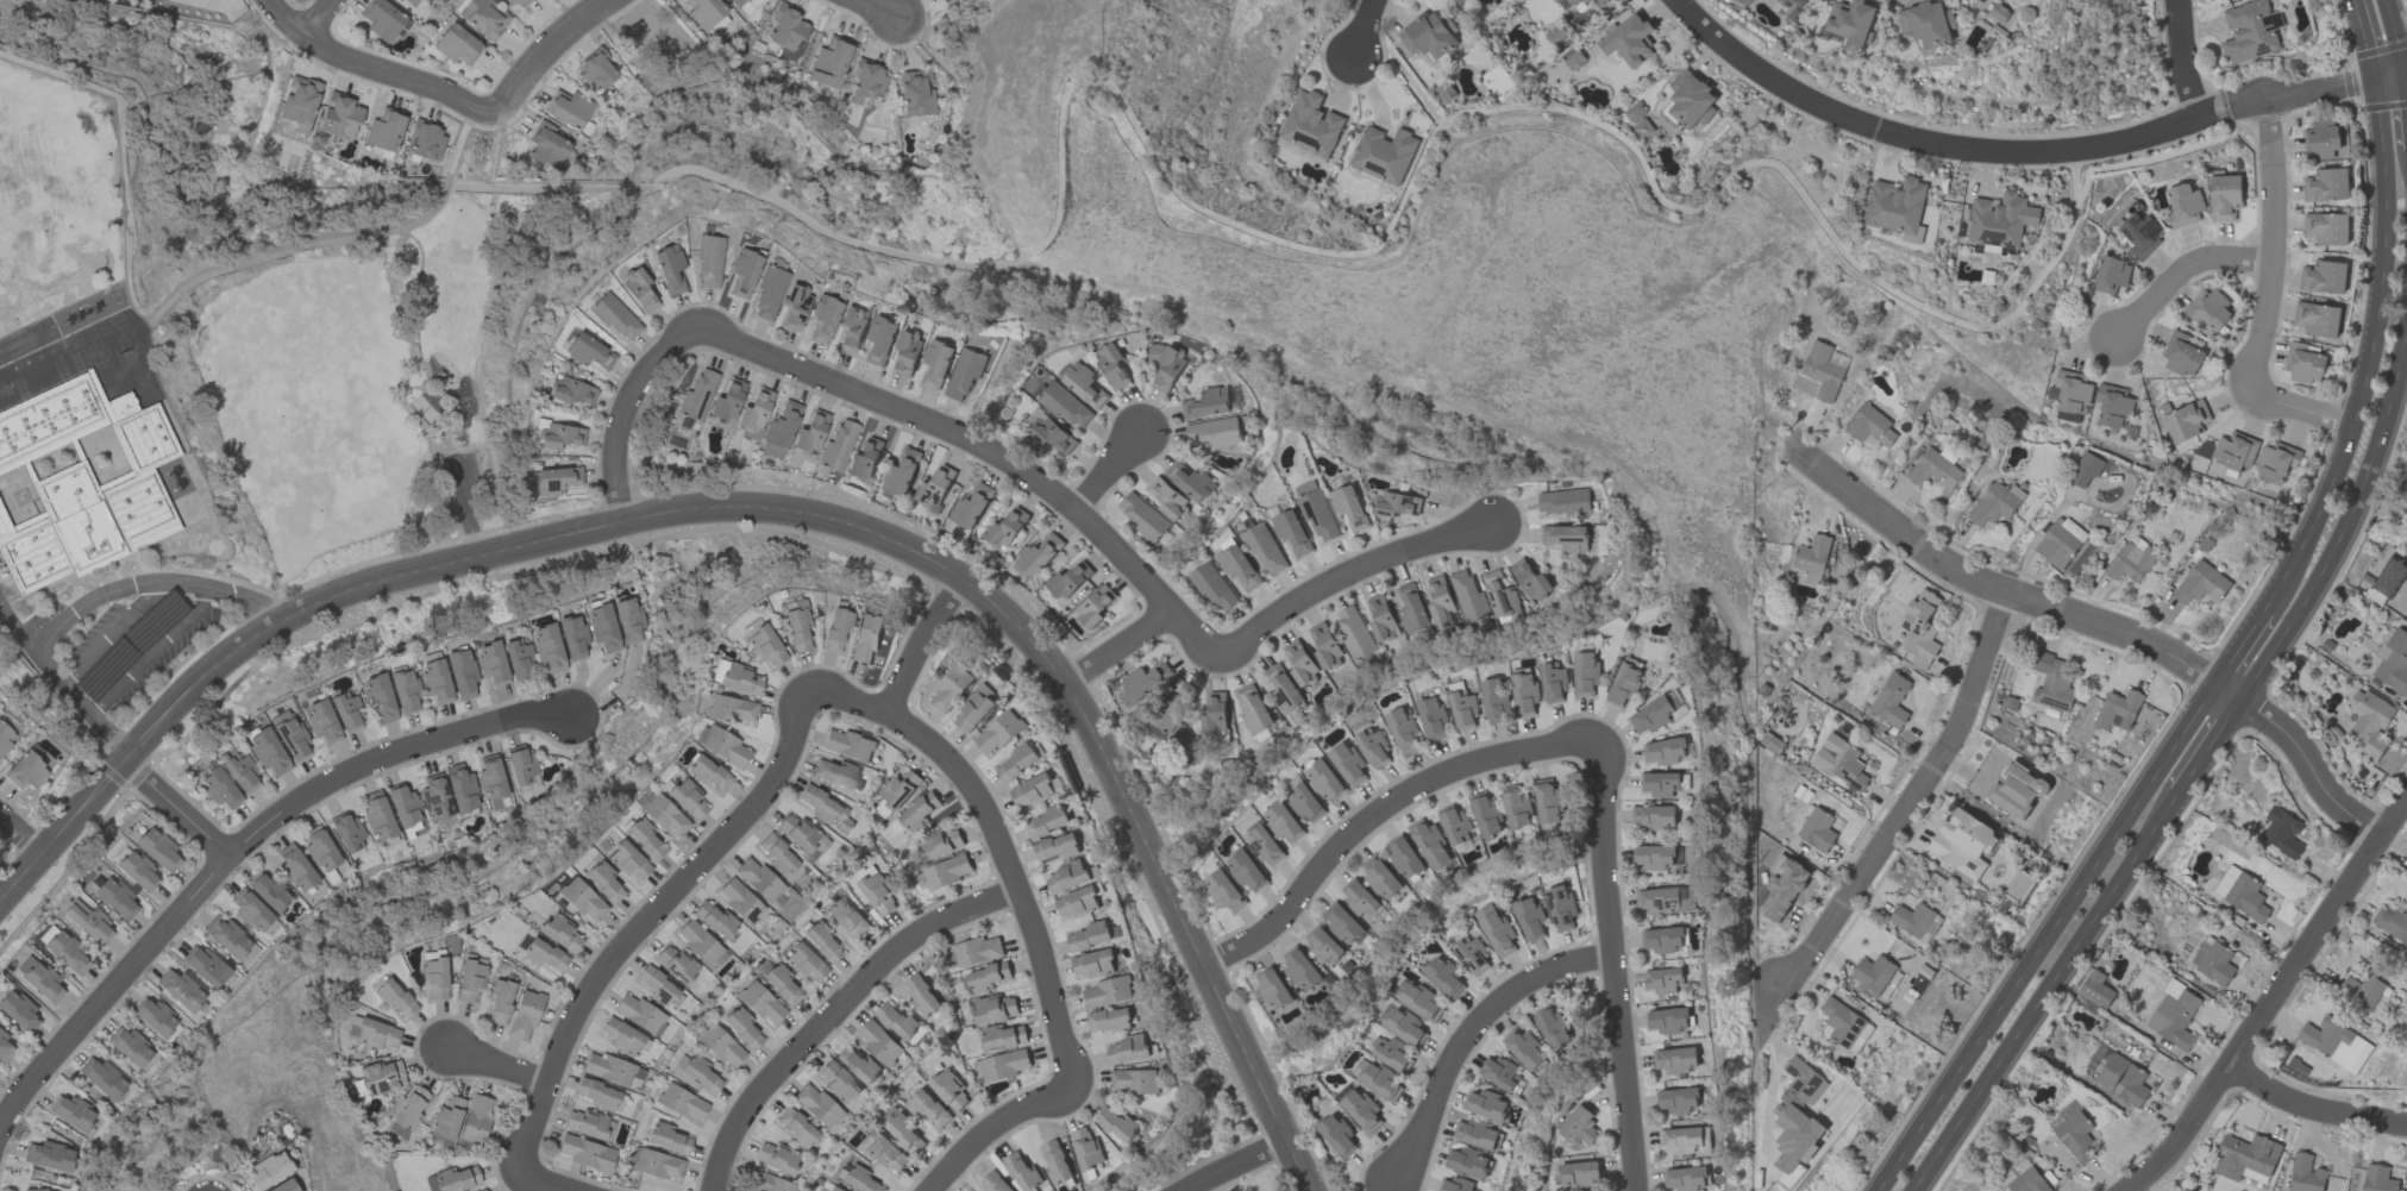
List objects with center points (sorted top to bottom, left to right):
park: (299, 0)
building: (1600, 0)
building: (1572, 1)
building: (1585, 1)
building: (409, 2)
building: (516, 2)
building: (1794, 2)
building: (745, 5)
road: (879, 7)
building: (1998, 11)
building: (704, 12)
building: (484, 18)
road: (303, 20)
road: (322, 20)
building: (384, 20)
building: (1851, 23)
building: (1928, 23)
building: (785, 27)
road: (1362, 30)
building: (2250, 31)
building: (1429, 35)
road: (2394, 36)
building: (1628, 39)
road: (2362, 39)
building: (456, 45)
road: (550, 55)
building: (1573, 59)
road: (2187, 59)
building: (829, 63)
road: (381, 67)
building: (597, 71)
road: (2406, 73)
traffic signals: (2406, 74)
road: (2389, 76)
road: (2406, 79)
traffic signals: (2374, 80)
building: (867, 82)
road: (2300, 94)
building: (915, 95)
building: (1690, 99)
building: (300, 104)
building: (569, 109)
building: (1632, 112)
building: (339, 117)
building: (1310, 124)
building: (1642, 128)
building: (384, 131)
building: (2321, 138)
building: (426, 140)
road: (1933, 144)
building: (547, 146)
building: (1383, 153)
building: (2326, 184)
building: (2224, 196)
building: (1895, 203)
building: (2182, 205)
building: (2000, 219)
building: (2325, 227)
road: (1383, 232)
building: (2138, 233)
building: (1913, 236)
road: (328, 243)
road: (2268, 249)
building: (709, 261)
building: (670, 270)
building: (744, 274)
building: (2111, 274)
road: (2180, 276)
building: (2323, 276)
building: (639, 290)
building: (769, 293)
building: (795, 308)
building: (2208, 308)
building: (615, 318)
building: (2317, 318)
building: (823, 319)
building: (851, 328)
building: (879, 339)
building: (907, 351)
building: (590, 352)
building: (2182, 355)
road: (2370, 355)
building: (935, 362)
building: (2303, 363)
building: (1111, 365)
building: (1167, 368)
building: (1824, 369)
building: (964, 372)
road: (399, 382)
park: (343, 383)
building: (1083, 384)
building: (571, 391)
building: (2069, 394)
road: (859, 395)
building: (695, 400)
building: (1205, 403)
building: (726, 405)
building: (1064, 405)
building: (2112, 405)
road: (2300, 410)
building: (753, 413)
building: (2185, 420)
building: (1867, 425)
building: (779, 431)
building: (1049, 431)
building: (1212, 432)
building: (810, 433)
building: (559, 437)
building: (838, 446)
building: (2233, 450)
building: (865, 459)
building: (2275, 460)
building: (1935, 468)
building: (2085, 469)
building: (901, 471)
road: (1112, 472)
building: (553, 479)
building: (1189, 481)
building: (83, 484)
building: (935, 489)
building: (1166, 497)
building: (1562, 501)
building: (1394, 503)
building: (1994, 503)
building: (971, 504)
building: (1348, 506)
road: (463, 509)
building: (1316, 513)
road: (773, 514)
building: (1141, 515)
road: (2346, 522)
building: (1007, 527)
building: (1291, 531)
building: (1566, 537)
building: (2060, 541)
building: (1262, 546)
building: (1812, 553)
building: (1038, 554)
building: (2130, 558)
building: (1239, 566)
building: (2388, 575)
building: (1811, 577)
building: (1067, 579)
building: (1530, 579)
building: (2200, 583)
road: (1325, 585)
building: (1214, 587)
road: (1992, 591)
building: (1500, 595)
building: (1467, 596)
road: (269, 600)
building: (1440, 602)
road: (86, 604)
building: (1095, 607)
building: (1410, 607)
building: (1381, 618)
building: (628, 620)
building: (796, 625)
building: (602, 628)
building: (835, 628)
building: (1919, 628)
building: (1353, 632)
building: (866, 638)
building: (572, 639)
building: (1324, 645)
building: (765, 646)
road: (1116, 646)
building: (547, 647)
road: (923, 648)
road: (2242, 651)
building: (519, 659)
building: (2393, 662)
building: (491, 664)
building: (1299, 664)
building: (1584, 672)
building: (460, 673)
building: (740, 679)
building: (1145, 679)
building: (435, 681)
building: (1624, 681)
building: (1552, 682)
building: (2051, 682)
building: (1281, 687)
building: (949, 688)
building: (405, 691)
building: (1523, 691)
road: (2226, 697)
building: (378, 700)
building: (1492, 700)
building: (1891, 700)
building: (973, 708)
building: (1171, 708)
building: (731, 709)
building: (1252, 709)
building: (2117, 709)
building: (1462, 710)
building: (346, 712)
building: (1656, 713)
building: (1215, 716)
building: (1430, 717)
building: (322, 722)
building: (2368, 722)
building: (1402, 729)
building: (998, 732)
building: (289, 735)
building: (5, 738)
building: (1769, 742)
building: (722, 745)
building: (848, 745)
building: (1371, 745)
building: (268, 751)
building: (1665, 751)
road: (2206, 752)
building: (1016, 761)
building: (1839, 761)
building: (1346, 763)
building: (520, 765)
road: (2311, 770)
building: (25, 771)
building: (707, 772)
building: (835, 773)
building: (242, 775)
building: (490, 777)
building: (1323, 779)
building: (1661, 783)
building: (220, 789)
building: (460, 789)
building: (1030, 790)
building: (435, 797)
building: (687, 800)
building: (1547, 801)
building: (1304, 803)
building: (403, 807)
building: (1517, 808)
road: (180, 809)
building: (825, 809)
building: (917, 811)
building: (1486, 813)
building: (377, 816)
building: (664, 816)
building: (1653, 816)
building: (1046, 821)
building: (1281, 822)
building: (1454, 823)
road: (1367, 826)
building: (1817, 829)
road: (1908, 829)
building: (347, 832)
building: (2281, 832)
road: (21, 834)
building: (801, 835)
building: (644, 838)
building: (940, 842)
building: (1962, 842)
building: (1430, 844)
building: (1057, 846)
building: (1262, 846)
building: (158, 850)
building: (320, 850)
road: (232, 852)
building: (777, 855)
building: (1404, 857)
building: (1654, 857)
building: (628, 861)
building: (295, 867)
building: (138, 871)
building: (946, 871)
building: (1245, 871)
building: (1066, 876)
building: (1380, 877)
building: (758, 879)
building: (603, 882)
building: (1781, 888)
building: (1222, 890)
building: (268, 891)
building: (2240, 892)
building: (878, 894)
road: (673, 895)
building: (113, 897)
building: (1360, 898)
building: (1666, 898)
building: (582, 899)
building: (740, 901)
building: (1076, 901)
building: (1559, 907)
building: (251, 911)
building: (846, 916)
building: (1529, 919)
building: (716, 920)
building: (1916, 920)
building: (89, 922)
building: (2392, 922)
building: (1342, 923)
building: (1493, 928)
building: (562, 934)
building: (1090, 935)
building: (227, 938)
building: (1662, 939)
road: (2044, 939)
building: (821, 941)
building: (698, 942)
building: (1323, 944)
building: (976, 951)
building: (2199, 951)
building: (67, 953)
building: (1469, 954)
building: (544, 955)
road: (1043, 960)
road: (1618, 960)
building: (1093, 963)
building: (675, 964)
building: (804, 964)
building: (2215, 964)
building: (205, 966)
building: (1300, 969)
building: (1872, 973)
building: (1442, 976)
building: (986, 977)
building: (434, 978)
building: (39, 979)
building: (1663, 979)
building: (470, 980)
building: (781, 984)
building: (654, 985)
building: (2171, 986)
building: (1273, 988)
building: (2095, 989)
building: (180, 990)
building: (2361, 990)
building: (1108, 991)
road: (2044, 995)
building: (922, 996)
building: (394, 997)
road: (2273, 997)
building: (500, 1001)
building: (1419, 1002)
building: (760, 1003)
building: (995, 1008)
building: (18, 1011)
road: (840, 1013)
building: (525, 1014)
building: (639, 1014)
building: (156, 1018)
building: (1109, 1018)
building: (1669, 1018)
building: (2174, 1018)
building: (897, 1020)
building: (1845, 1024)
building: (1403, 1026)
building: (741, 1028)
building: (1553, 1028)
building: (376, 1034)
building: (1002, 1035)
building: (621, 1038)
road: (1472, 1038)
building: (878, 1041)
building: (2334, 1042)
building: (130, 1046)
building: (720, 1046)
building: (4, 1048)
building: (1523, 1048)
building: (1127, 1049)
building: (1393, 1054)
building: (1675, 1059)
building: (1004, 1064)
building: (858, 1065)
road: (500, 1067)
building: (610, 1070)
building: (1499, 1072)
building: (698, 1073)
building: (382, 1077)
building: (102, 1079)
building: (2123, 1079)
building: (1134, 1080)
building: (1379, 1080)
building: (836, 1082)
building: (1799, 1084)
building: (948, 1089)
building: (598, 1095)
road: (2315, 1096)
building: (1676, 1099)
building: (682, 1103)
building: (1485, 1104)
building: (817, 1105)
building: (1358, 1107)
building: (927, 1108)
building: (410, 1109)
building: (70, 1112)
building: (476, 1118)
building: (447, 1121)
building: (1117, 1123)
building: (585, 1124)
building: (1578, 1124)
building: (797, 1129)
building: (903, 1133)
building: (1478, 1134)
building: (1336, 1135)
building: (2075, 1135)
building: (667, 1139)
building: (1686, 1140)
building: (1085, 1146)
building: (585, 1153)
building: (885, 1153)
building: (49, 1156)
building: (776, 1158)
building: (2245, 1158)
building: (1055, 1161)
building: (1467, 1161)
road: (1236, 1164)
building: (657, 1165)
building: (1022, 1171)
building: (265, 1172)
building: (1579, 1173)
building: (1685, 1178)
building: (2377, 1178)
building: (452, 1179)
building: (858, 1180)
building: (2027, 1180)
road: (547, 1183)
building: (769, 1183)
building: (993, 1183)
building: (1456, 1184)
building: (284, 1186)
building: (832, 1189)
building: (44, 1190)

